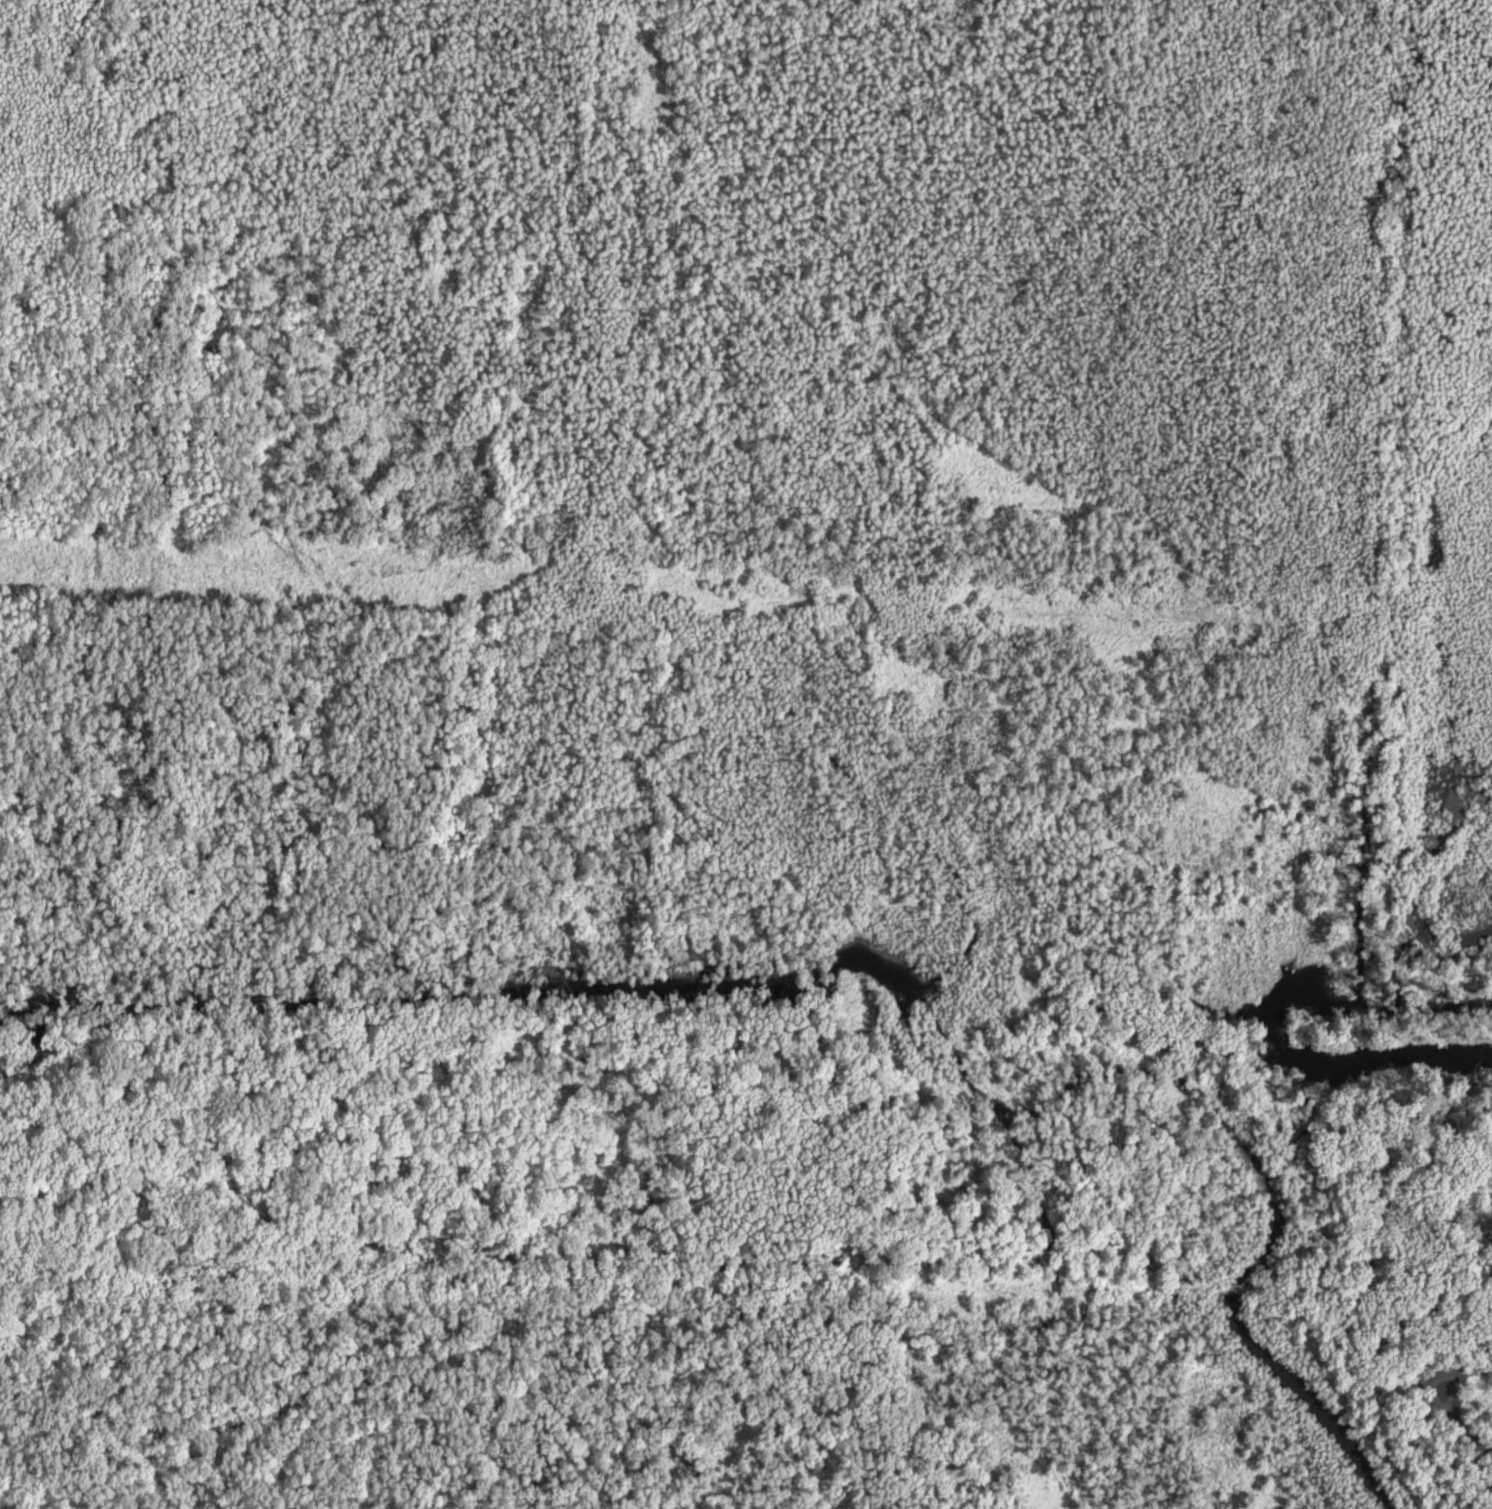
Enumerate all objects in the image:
crop: (1464, 1412)

